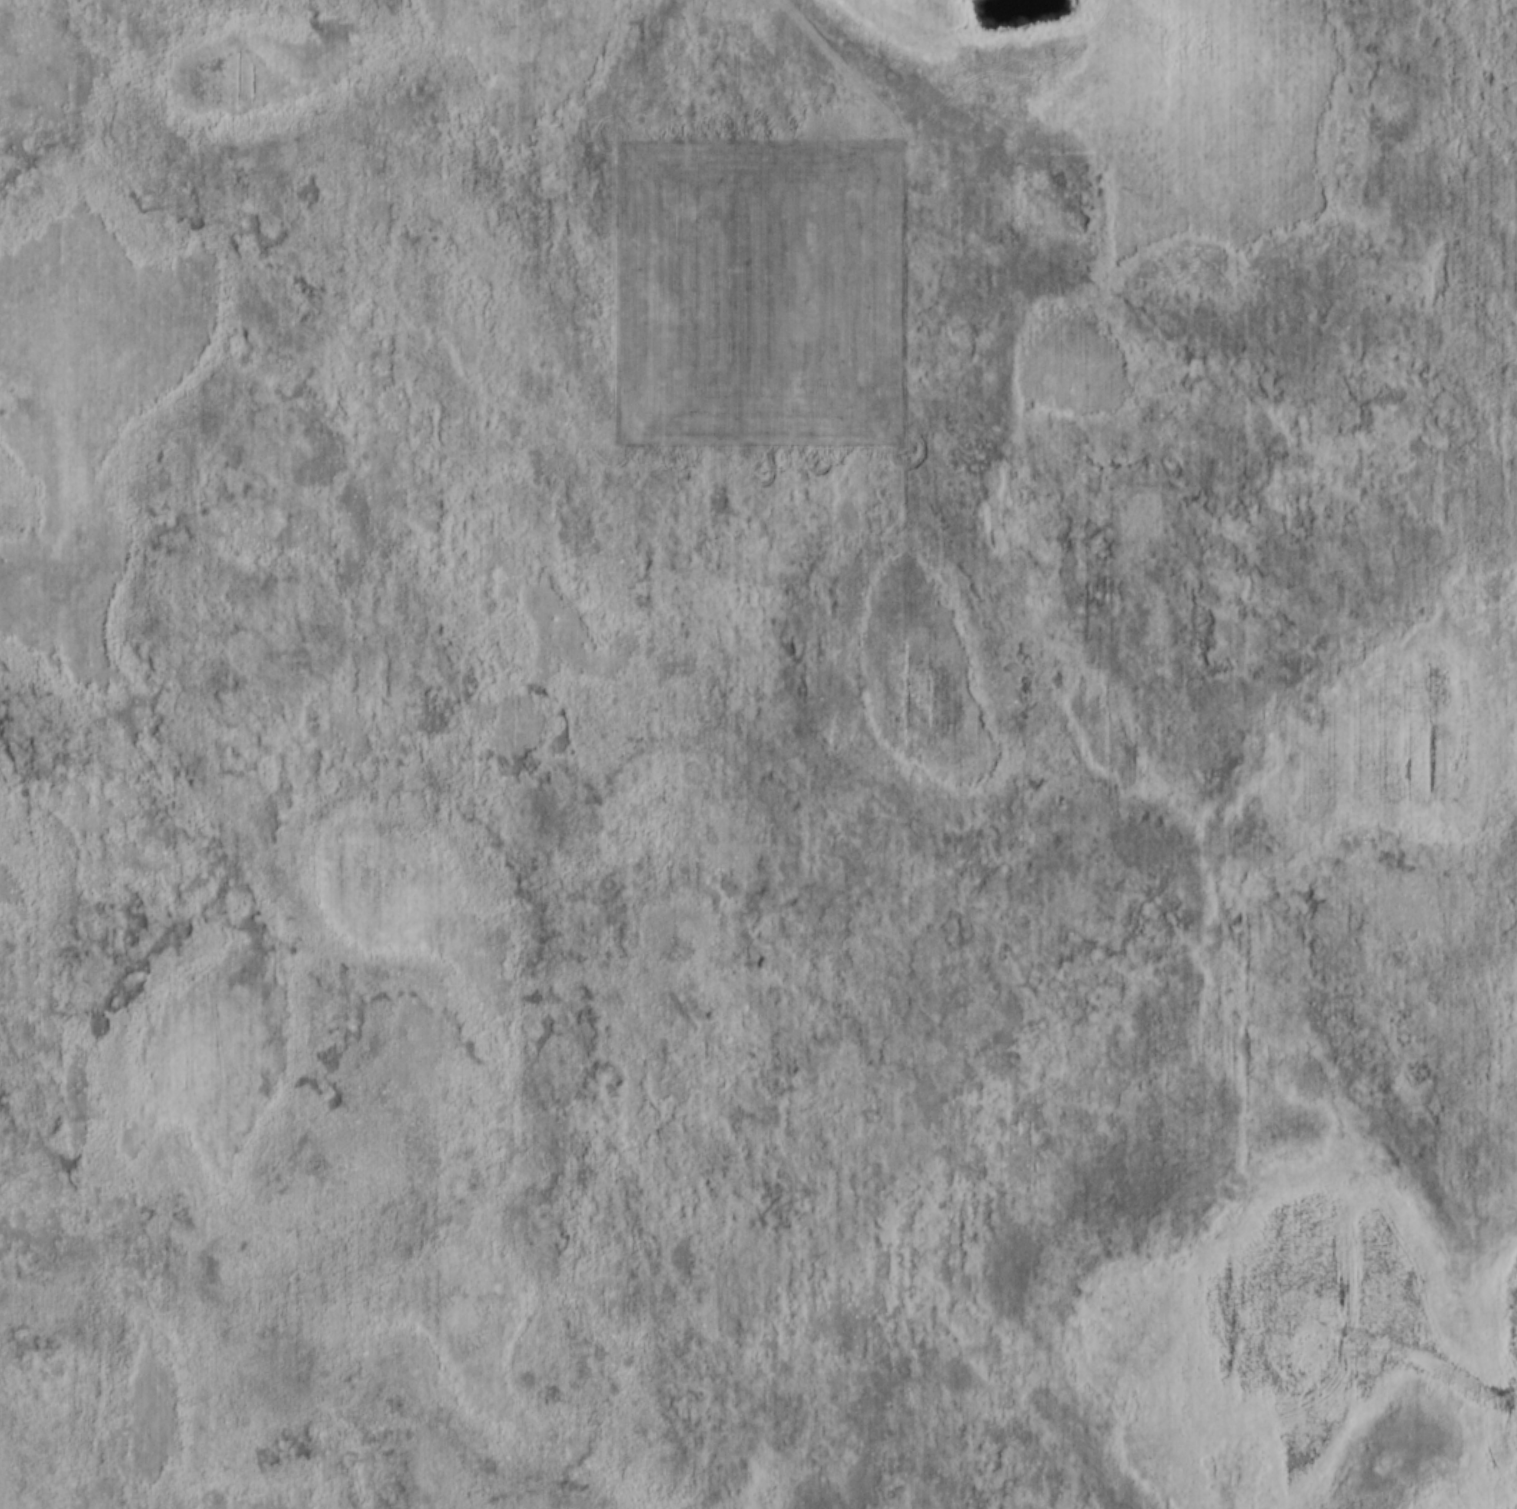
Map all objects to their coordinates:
building: (551, 824)
building: (940, 903)

